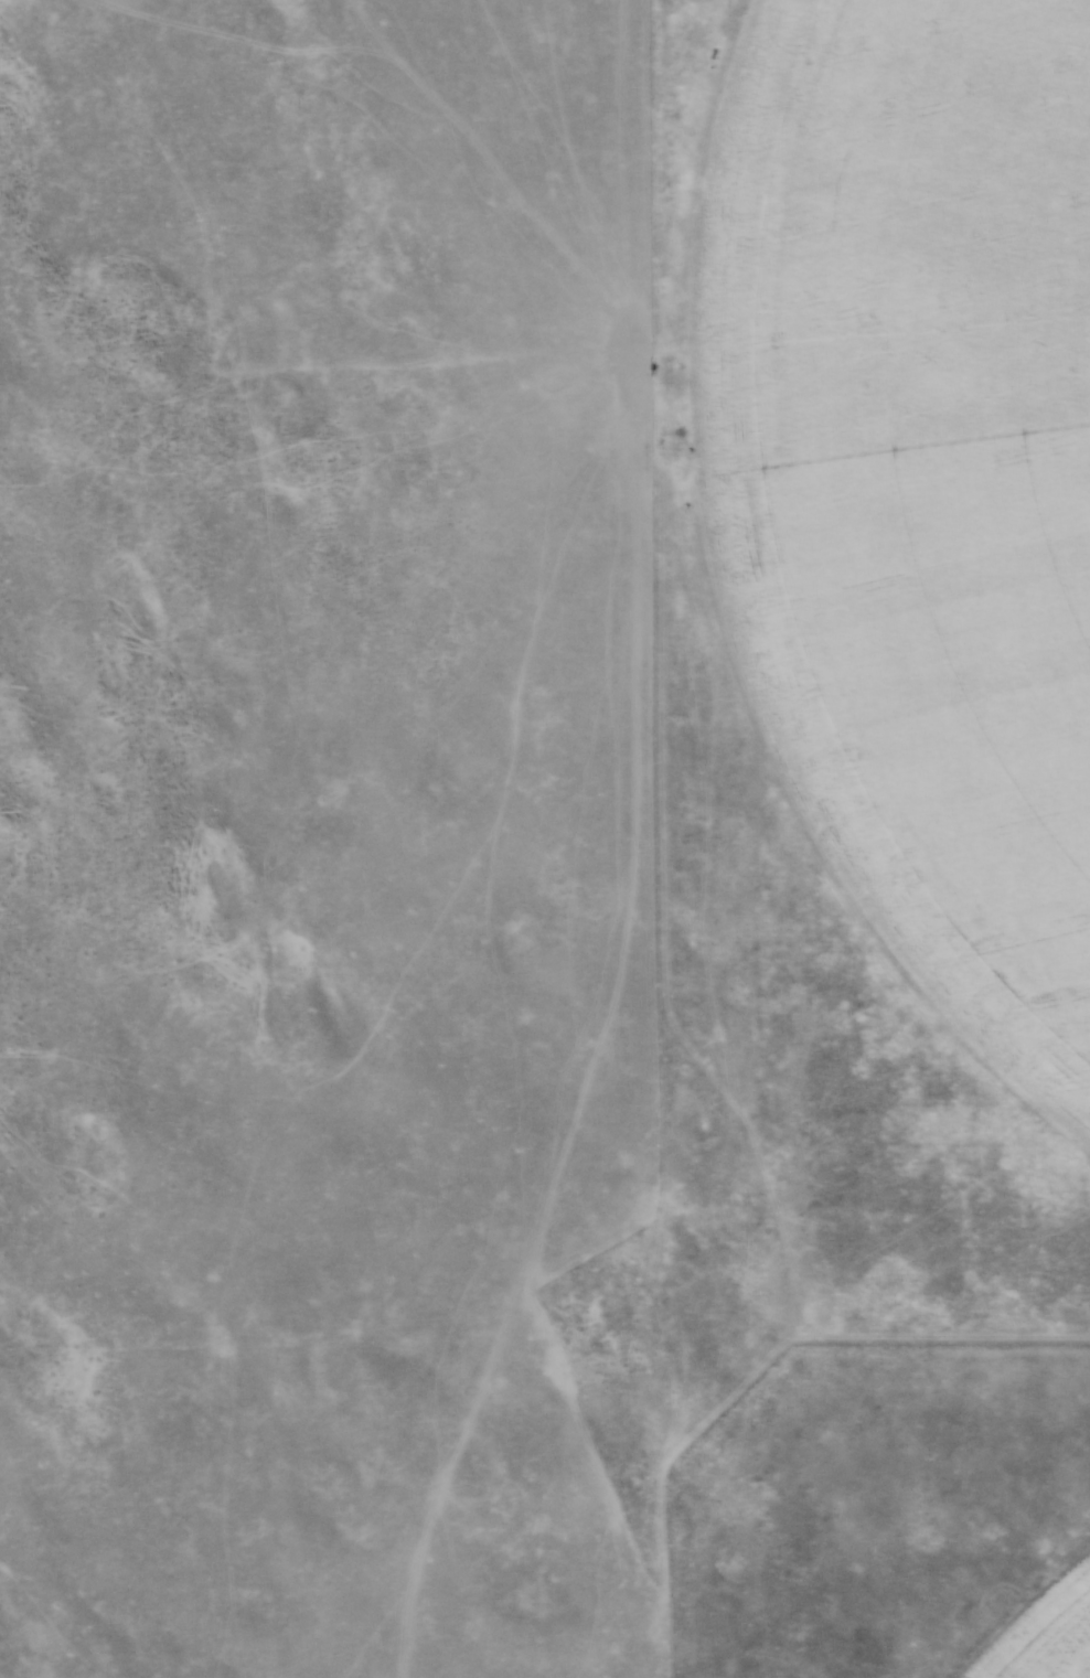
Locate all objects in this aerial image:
crop: (920, 478)
crop: (1047, 1637)

